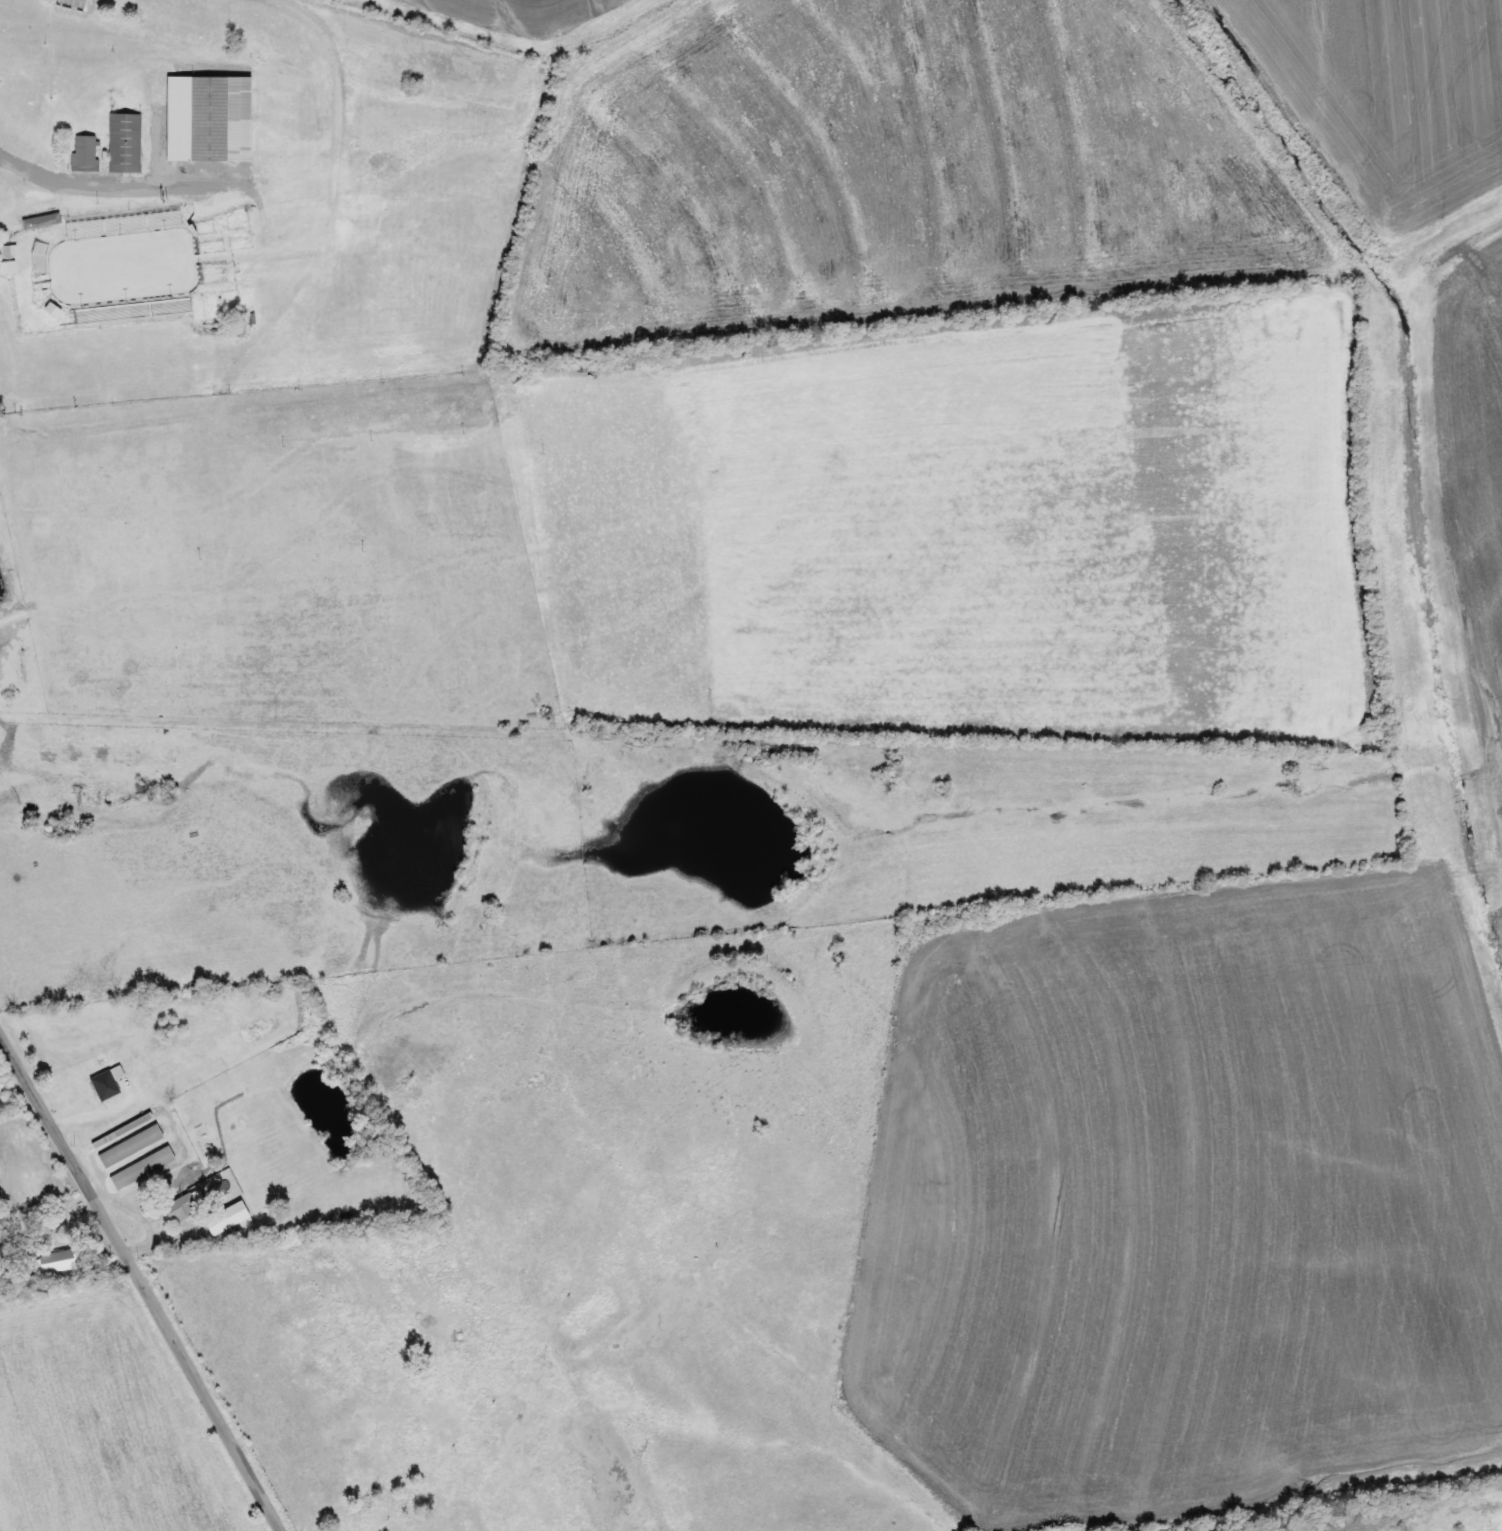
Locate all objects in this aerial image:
building: (75, 2)
crop: (504, 13)
crop: (1388, 98)
building: (218, 117)
building: (125, 141)
building: (85, 150)
crop: (896, 165)
road: (120, 182)
building: (41, 220)
building: (7, 266)
crop: (293, 551)
crop: (276, 854)
building: (105, 1078)
building: (123, 1129)
building: (131, 1144)
building: (144, 1166)
building: (182, 1206)
building: (227, 1217)
building: (56, 1260)
road: (139, 1285)

